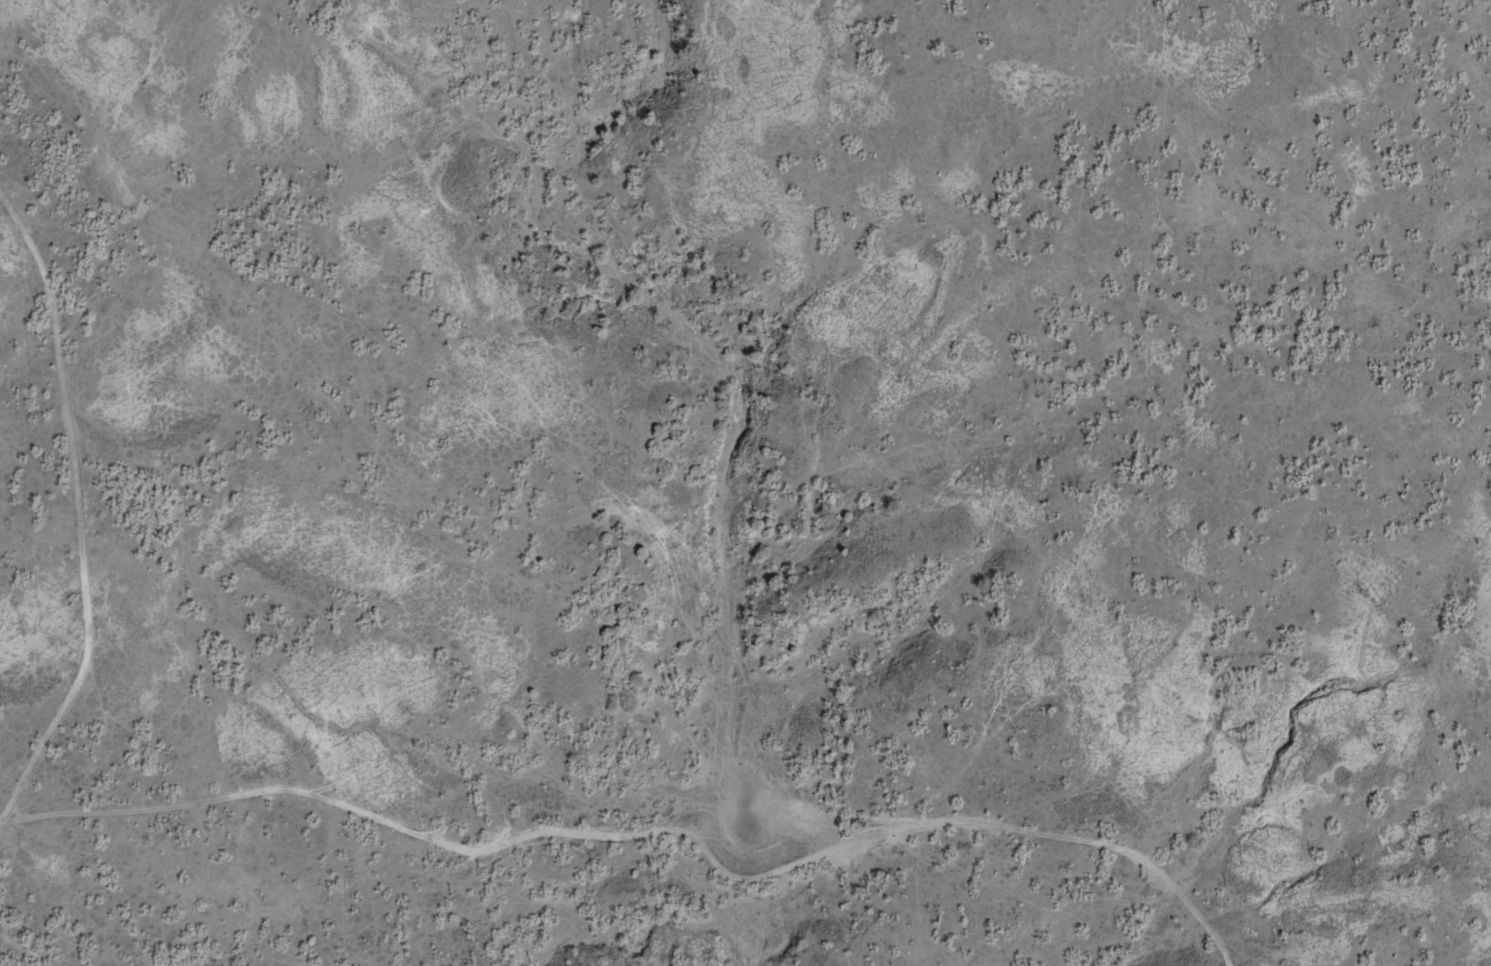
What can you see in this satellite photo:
road: (623, 872)

